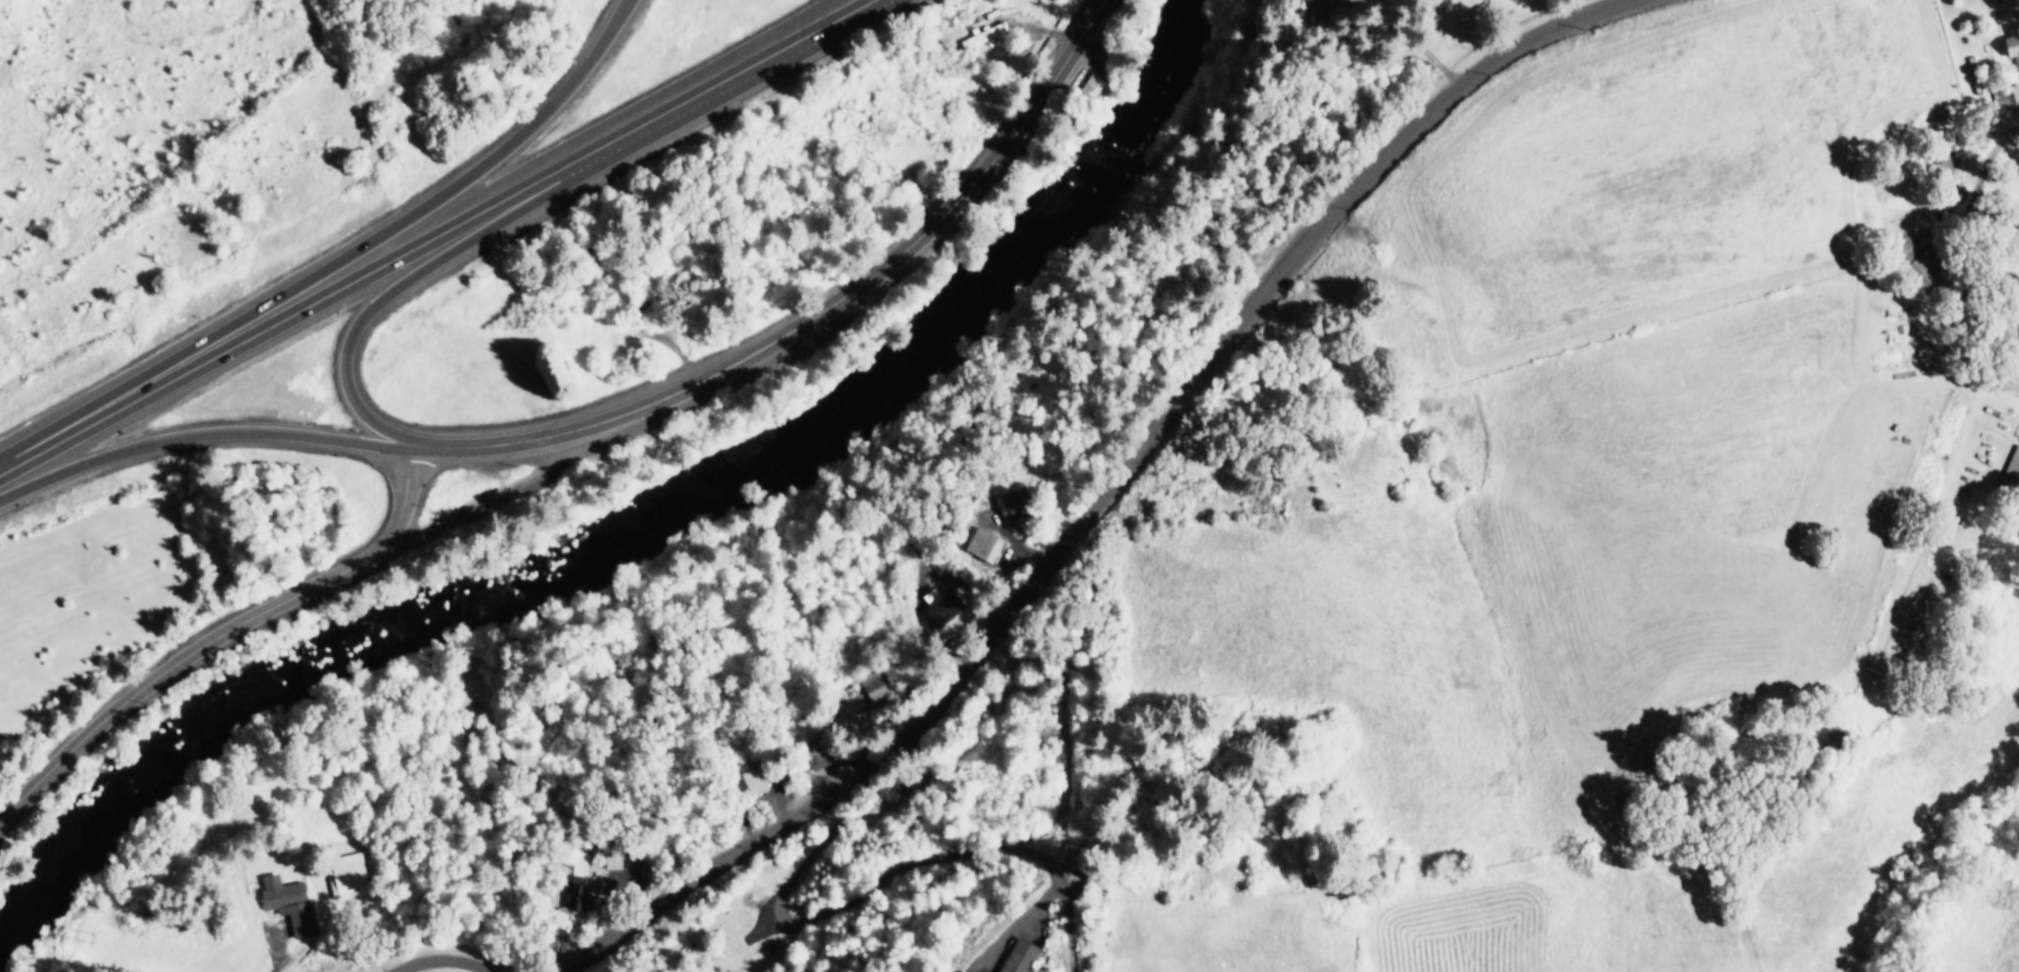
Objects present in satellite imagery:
park: (1410, 25)
building: (984, 36)
building: (2012, 44)
road: (753, 63)
building: (1099, 88)
building: (2006, 96)
building: (1941, 165)
road: (338, 259)
road: (428, 265)
building: (1925, 272)
road: (318, 300)
road: (813, 315)
road: (201, 434)
building: (2012, 468)
road: (1101, 490)
river: (645, 524)
crop: (1512, 534)
building: (982, 546)
road: (222, 635)
building: (877, 692)
building: (817, 759)
building: (753, 783)
building: (345, 876)
road: (875, 883)
building: (574, 898)
building: (289, 904)
building: (1018, 957)
road: (441, 960)
road: (278, 961)

